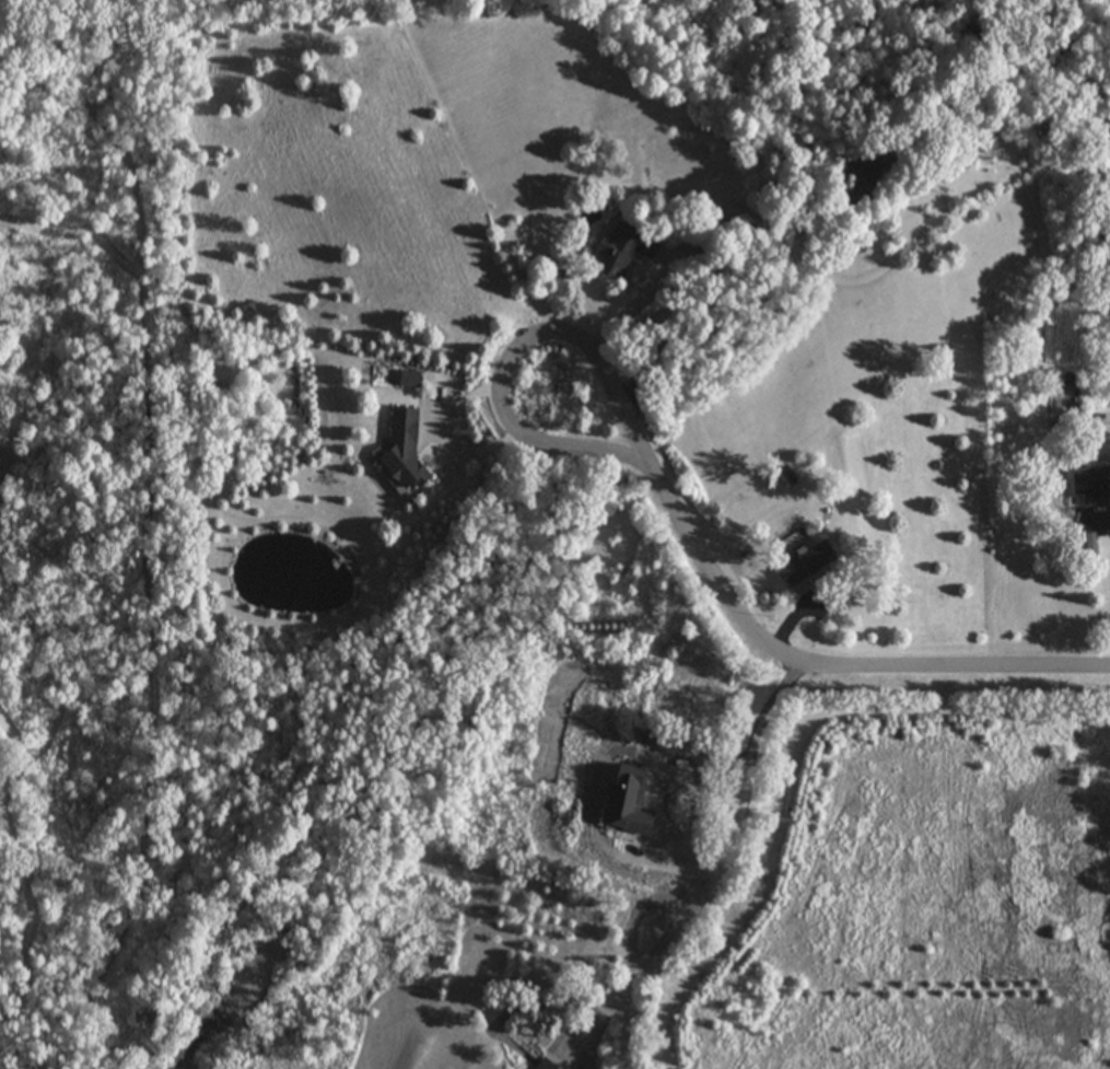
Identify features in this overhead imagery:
building: (858, 166)
building: (616, 249)
road: (632, 301)
road: (513, 353)
building: (1065, 385)
building: (401, 449)
building: (1084, 485)
park: (96, 541)
building: (1082, 546)
building: (802, 563)
road: (827, 664)
building: (654, 823)
road: (720, 872)
road: (635, 916)
building: (540, 1066)

